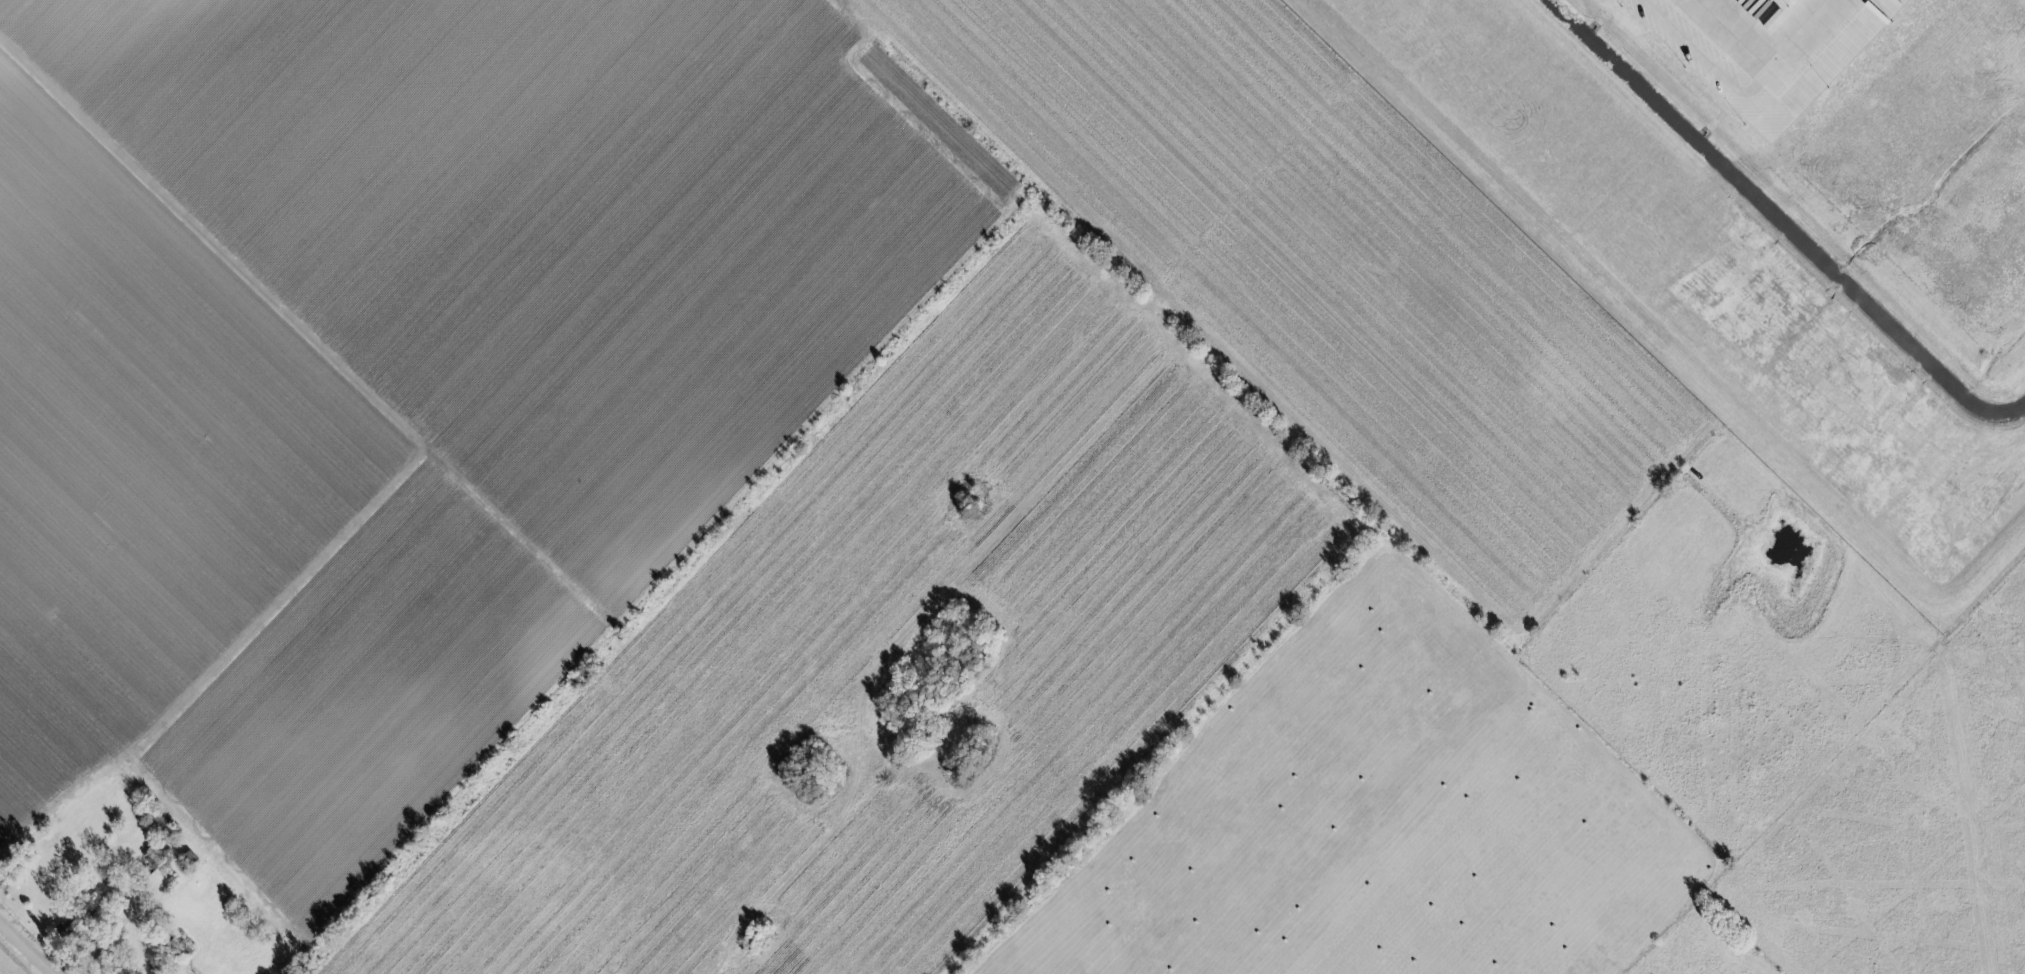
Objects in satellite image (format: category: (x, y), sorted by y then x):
road: (1757, 63)
building: (152, 860)
building: (71, 927)
road: (28, 946)

